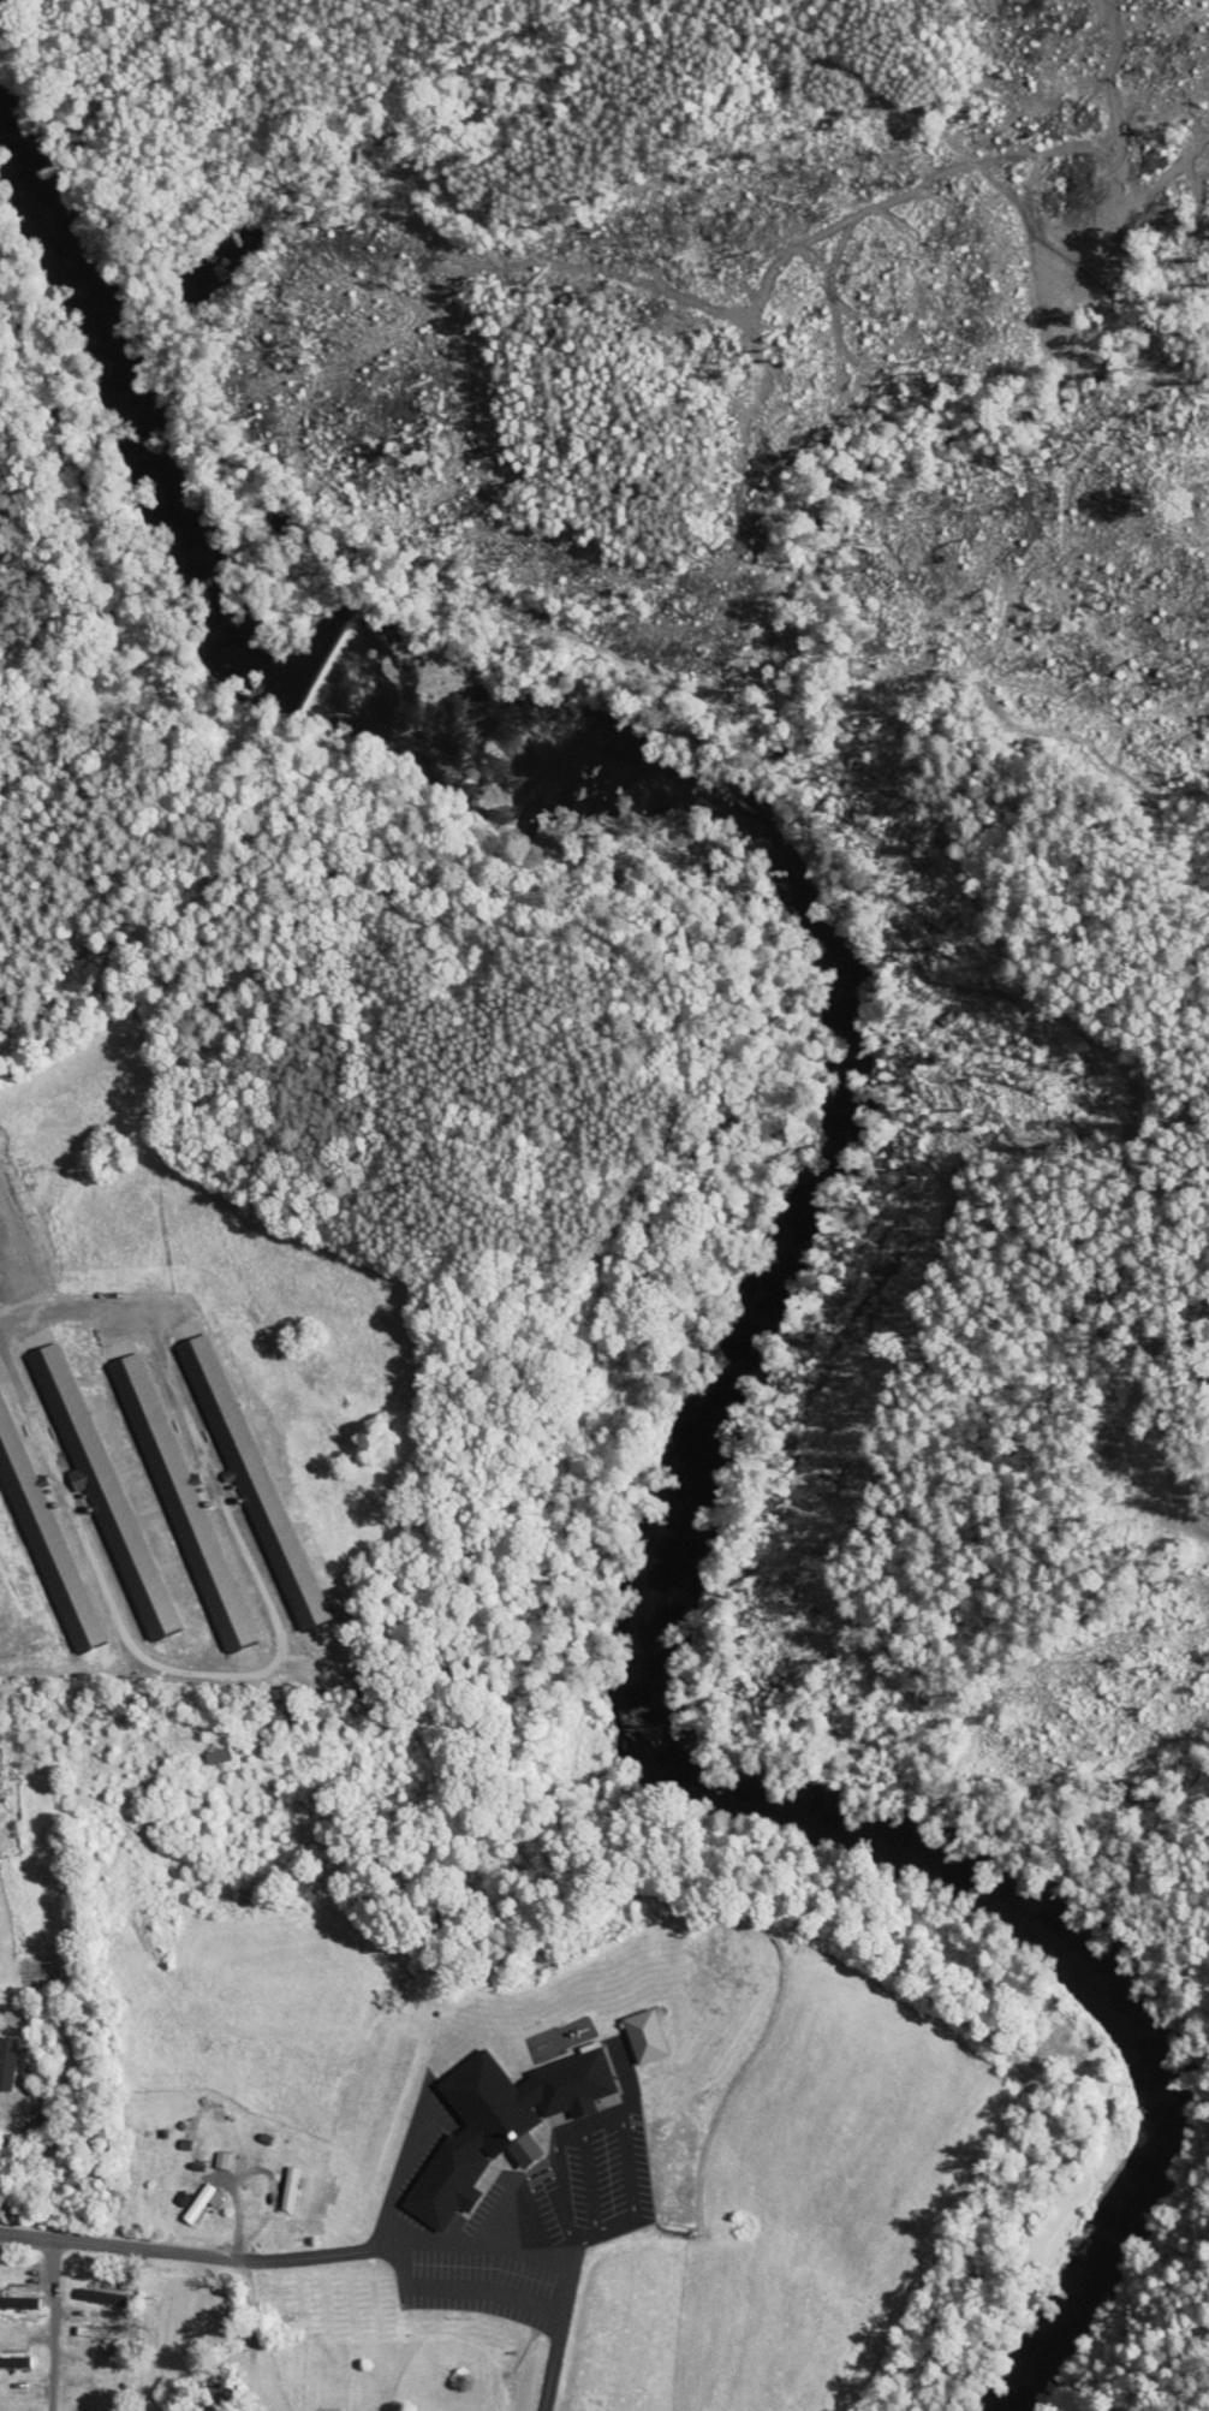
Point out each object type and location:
river: (139, 427)
dam: (330, 661)
river: (526, 740)
road: (70, 1316)
river: (702, 1429)
building: (215, 1757)
building: (0, 1794)
building: (565, 2037)
building: (644, 2037)
building: (6, 2062)
building: (572, 2084)
river: (1162, 2138)
building: (14, 2169)
building: (288, 2190)
building: (196, 2204)
road: (472, 2244)
road: (117, 2245)
road: (465, 2290)
building: (96, 2297)
building: (13, 2316)
road: (55, 2324)
building: (93, 2332)
building: (12, 2362)
building: (93, 2370)
building: (214, 2397)

